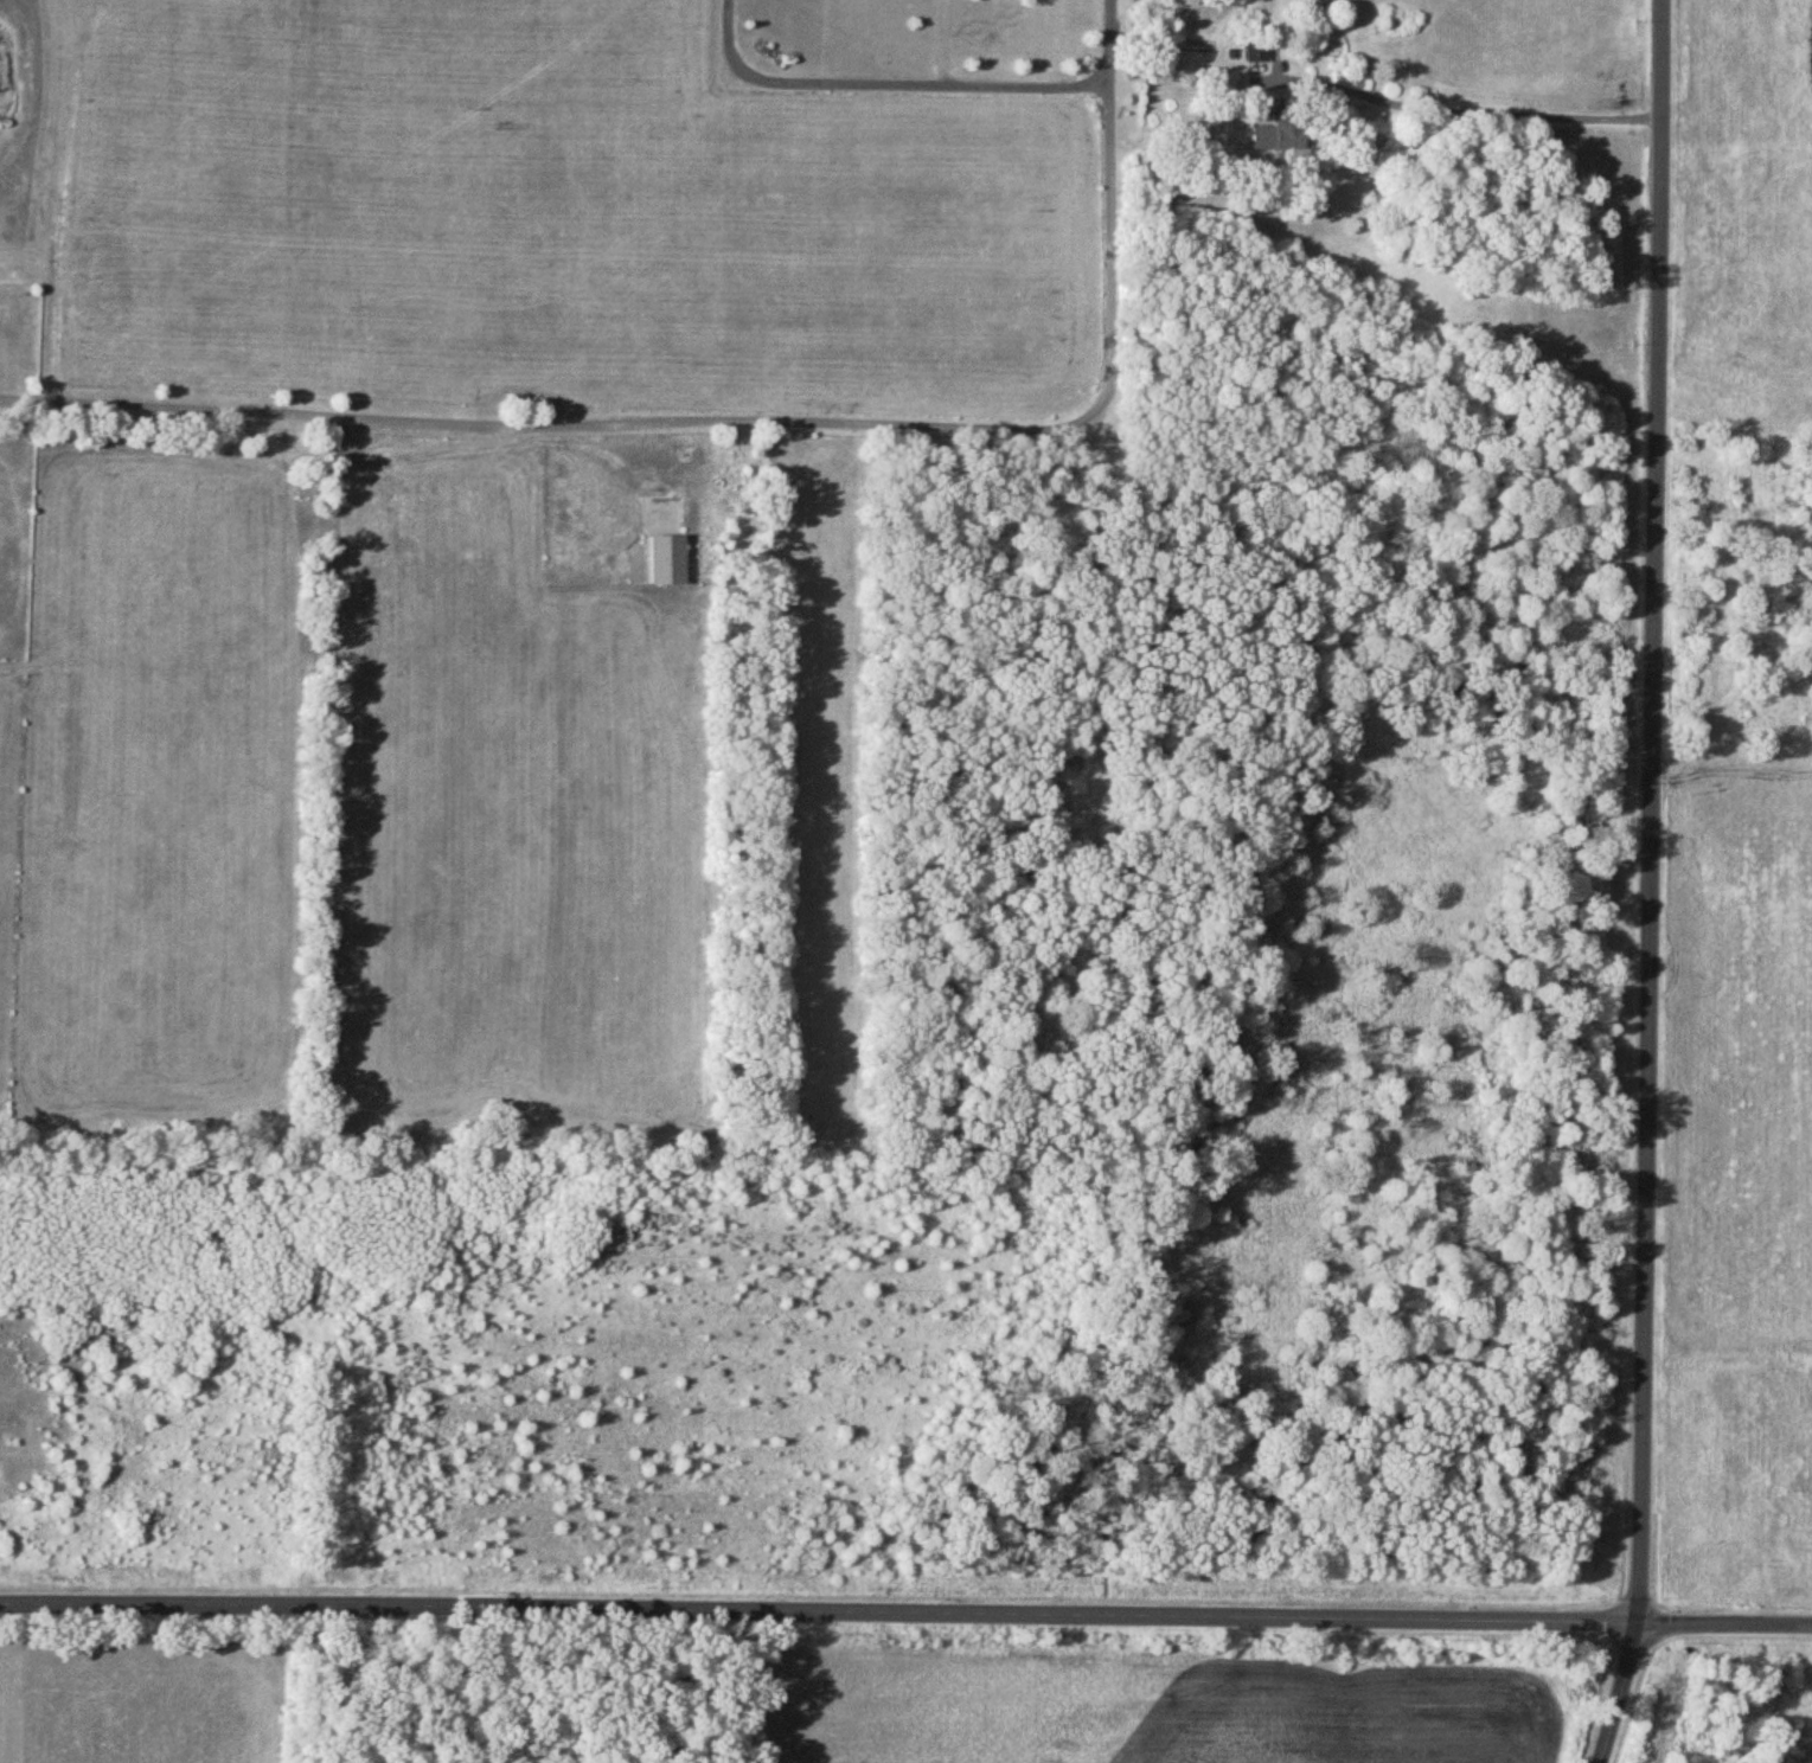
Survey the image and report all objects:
road: (943, 40)
road: (891, 81)
road: (1505, 109)
road: (756, 415)
building: (668, 560)
road: (1646, 809)
road: (905, 1610)
road: (1618, 1691)

